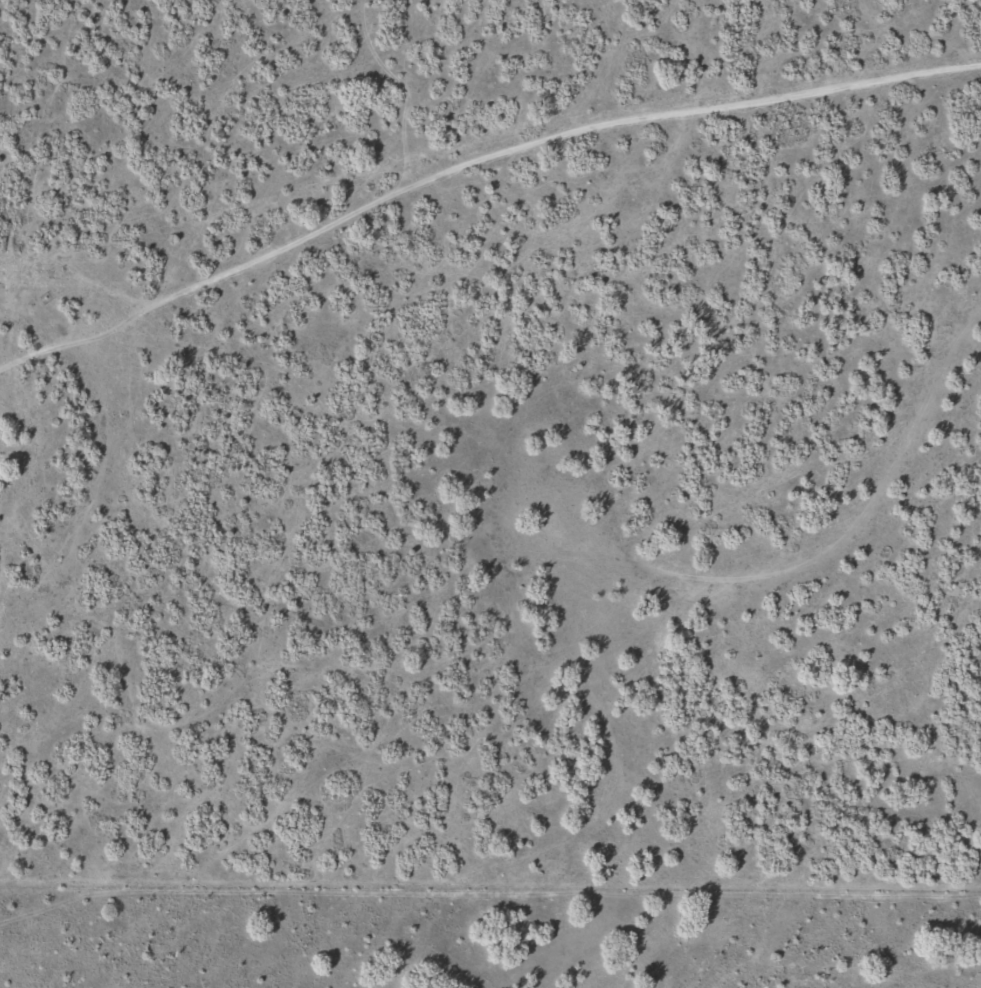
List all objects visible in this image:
road: (467, 171)

